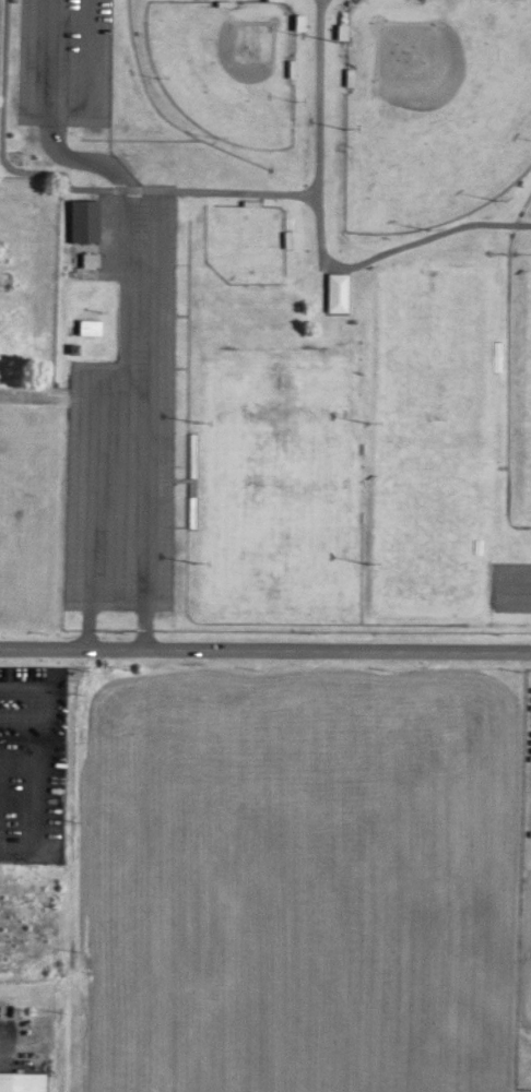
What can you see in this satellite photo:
park: (232, 67)
road: (321, 98)
park: (434, 110)
road: (56, 115)
road: (80, 159)
road: (75, 189)
park: (243, 241)
road: (397, 252)
building: (269, 313)
park: (530, 370)
road: (48, 395)
road: (95, 403)
park: (275, 479)
road: (143, 511)
road: (264, 650)
building: (22, 1080)

